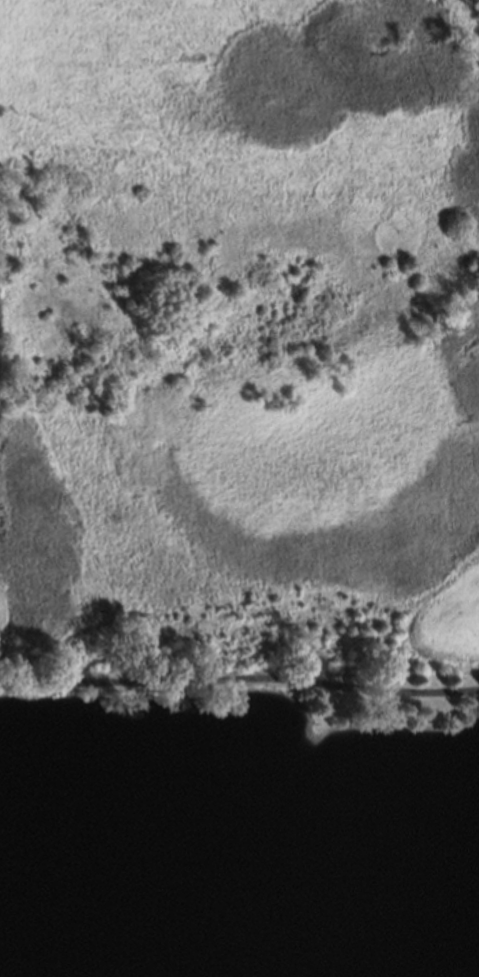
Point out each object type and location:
road: (239, 676)

